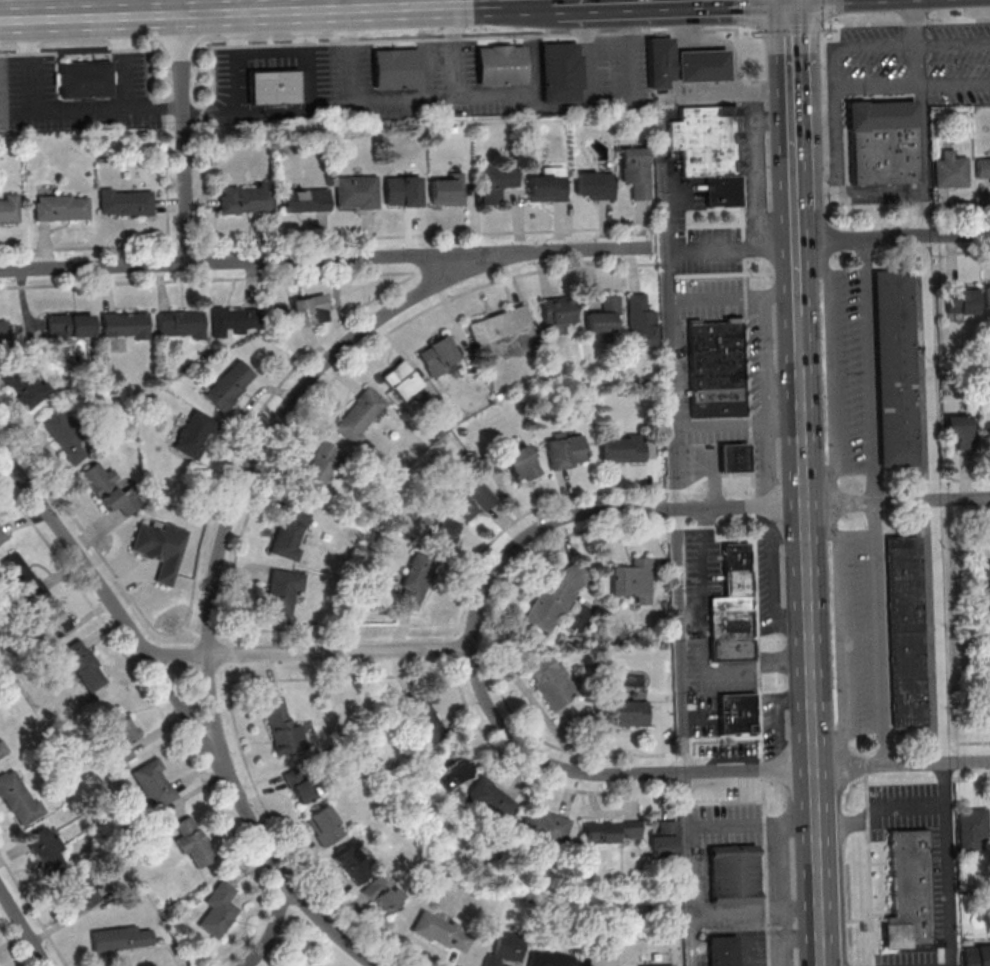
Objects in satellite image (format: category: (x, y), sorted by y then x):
road: (571, 0)
road: (544, 1)
road: (436, 3)
road: (309, 5)
road: (180, 8)
road: (368, 8)
road: (823, 13)
road: (748, 14)
road: (90, 19)
road: (906, 22)
road: (786, 26)
road: (374, 40)
road: (955, 46)
road: (861, 50)
building: (659, 62)
building: (501, 65)
building: (702, 66)
building: (396, 68)
road: (632, 71)
building: (560, 72)
building: (84, 79)
road: (591, 84)
road: (955, 85)
building: (273, 86)
road: (517, 94)
road: (694, 95)
road: (837, 99)
road: (404, 100)
road: (79, 112)
road: (789, 120)
building: (882, 140)
road: (185, 141)
building: (708, 149)
road: (923, 163)
building: (950, 170)
building: (983, 170)
building: (636, 171)
building: (497, 182)
building: (547, 185)
building: (594, 185)
building: (403, 191)
building: (447, 191)
building: (356, 192)
building: (247, 198)
building: (305, 200)
building: (125, 202)
road: (663, 206)
building: (61, 207)
building: (9, 210)
road: (927, 236)
road: (829, 240)
road: (730, 244)
road: (322, 261)
road: (796, 278)
building: (987, 294)
road: (771, 295)
road: (706, 298)
building: (961, 298)
building: (310, 310)
building: (556, 310)
building: (604, 316)
building: (233, 320)
building: (640, 322)
building: (179, 323)
building: (69, 325)
building: (124, 325)
building: (498, 326)
building: (2, 331)
road: (798, 334)
building: (439, 358)
building: (716, 360)
road: (770, 361)
building: (894, 366)
road: (831, 369)
road: (670, 379)
building: (401, 380)
building: (20, 385)
building: (230, 385)
building: (360, 415)
road: (736, 427)
building: (959, 430)
building: (195, 434)
building: (985, 434)
building: (65, 436)
building: (623, 448)
building: (565, 449)
building: (733, 458)
building: (522, 463)
building: (320, 468)
road: (250, 470)
building: (110, 489)
road: (752, 497)
building: (471, 500)
road: (874, 502)
road: (692, 509)
building: (444, 531)
building: (291, 532)
building: (2, 536)
building: (161, 549)
building: (21, 577)
building: (414, 581)
building: (633, 581)
building: (283, 590)
building: (554, 598)
road: (940, 601)
building: (733, 608)
building: (52, 624)
building: (904, 630)
road: (841, 634)
road: (679, 642)
road: (309, 653)
road: (810, 658)
building: (84, 665)
road: (745, 672)
building: (551, 682)
building: (985, 698)
road: (176, 699)
building: (737, 712)
building: (629, 714)
building: (425, 721)
building: (282, 728)
building: (121, 733)
road: (939, 744)
building: (2, 750)
road: (866, 770)
road: (695, 774)
road: (928, 780)
building: (154, 783)
building: (299, 785)
building: (18, 798)
building: (489, 800)
road: (687, 801)
road: (879, 810)
building: (325, 825)
building: (545, 827)
building: (971, 828)
building: (612, 831)
road: (691, 833)
building: (663, 840)
building: (192, 841)
building: (46, 850)
building: (354, 863)
road: (869, 869)
building: (733, 874)
building: (909, 890)
building: (382, 894)
building: (77, 896)
building: (219, 909)
road: (756, 915)
road: (321, 923)
road: (24, 925)
building: (442, 932)
building: (121, 937)
building: (505, 949)
building: (722, 950)
building: (976, 955)
building: (549, 958)
building: (599, 961)
building: (649, 965)

